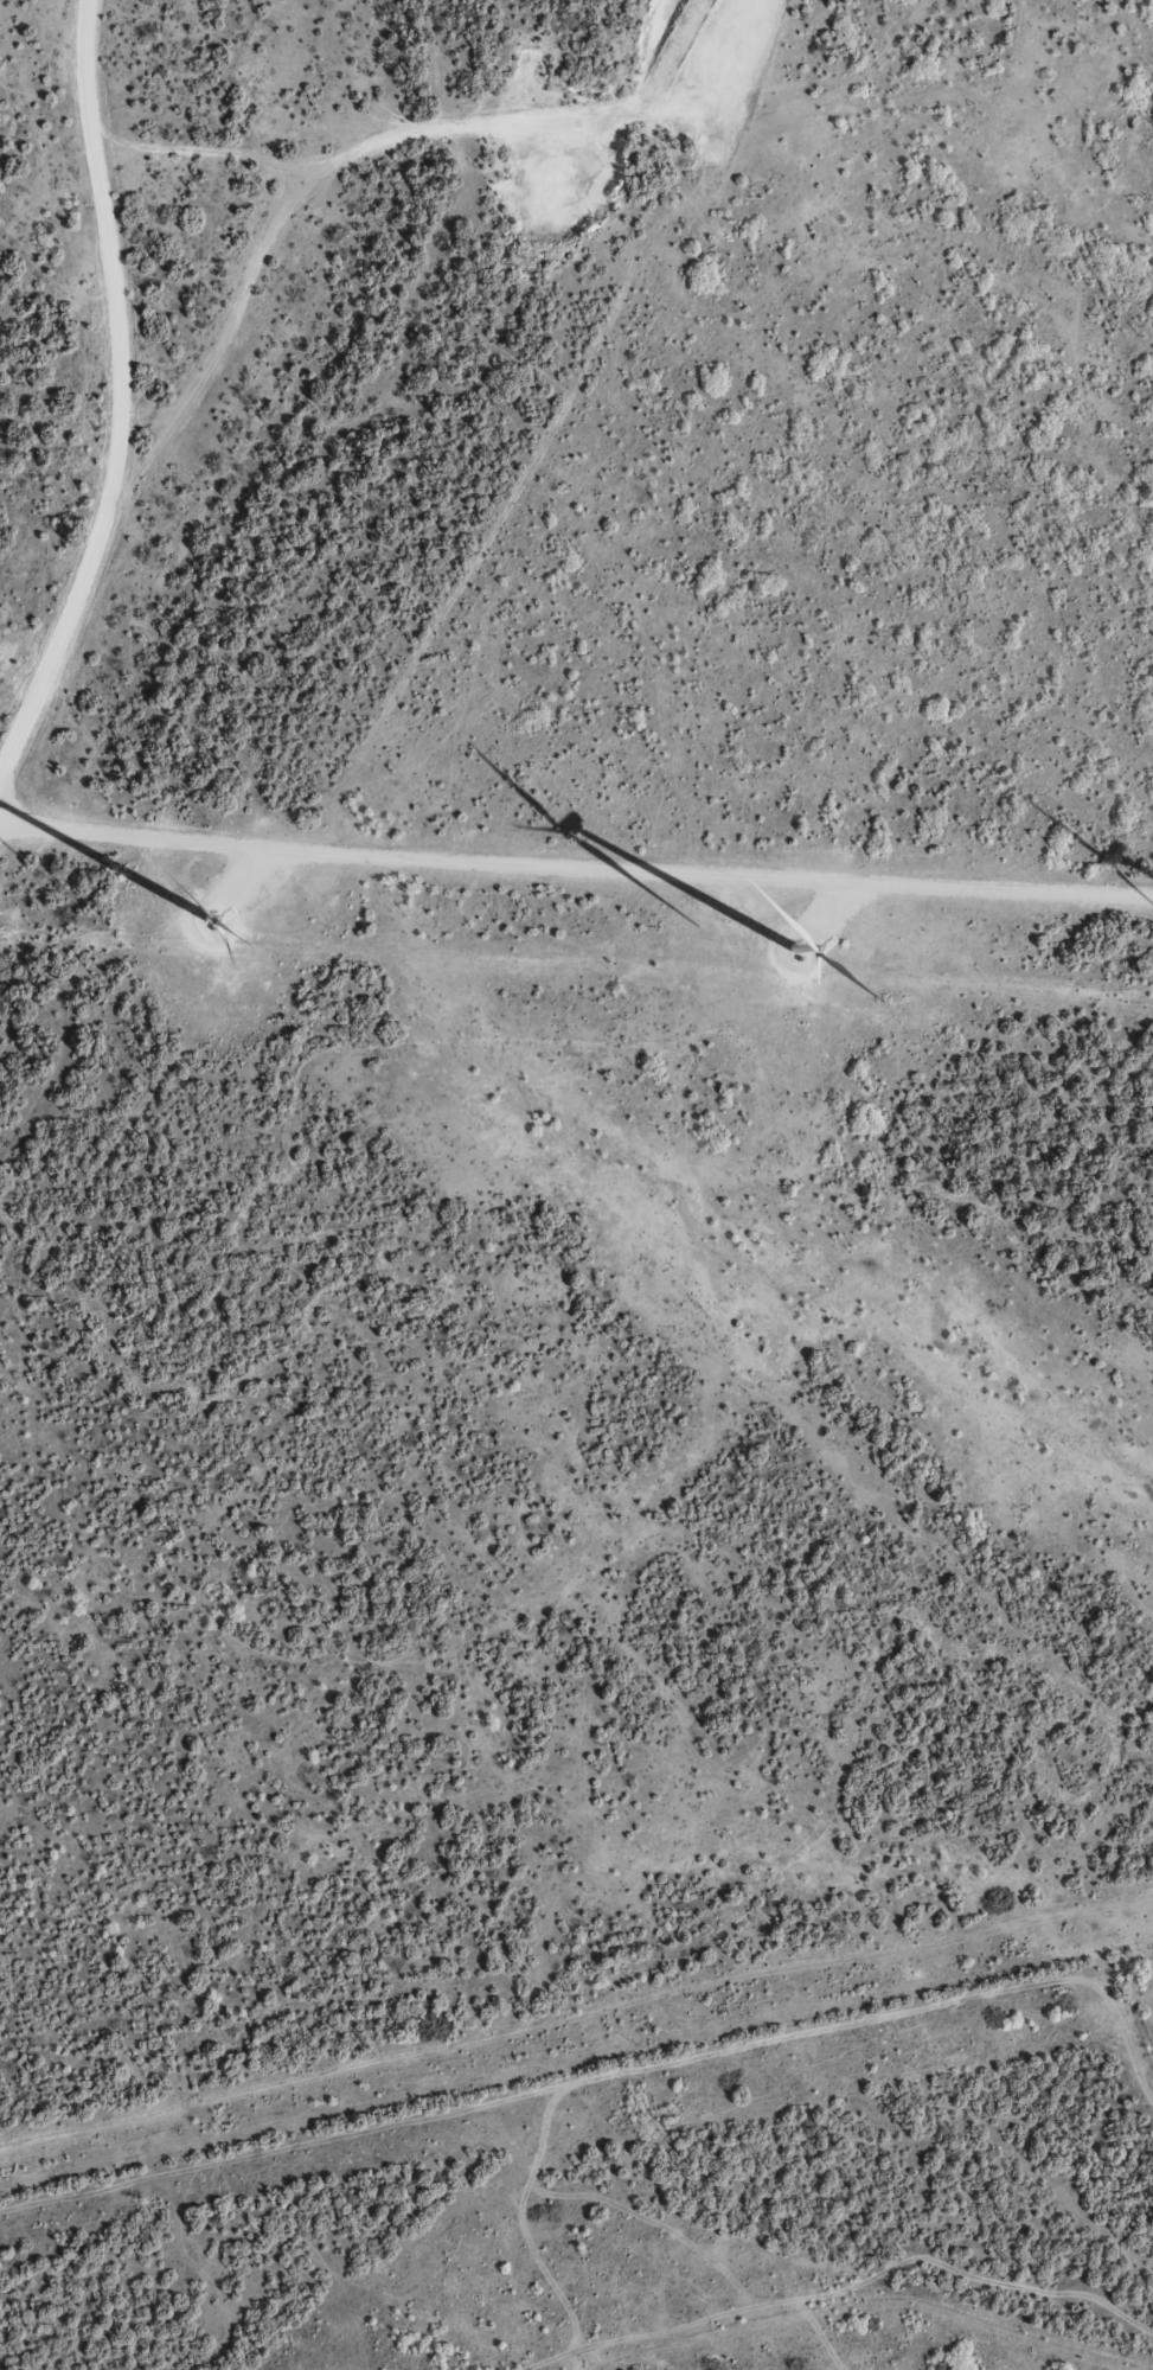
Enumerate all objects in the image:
road: (110, 398)
wind turbine: (226, 914)
wind turbine: (816, 944)

